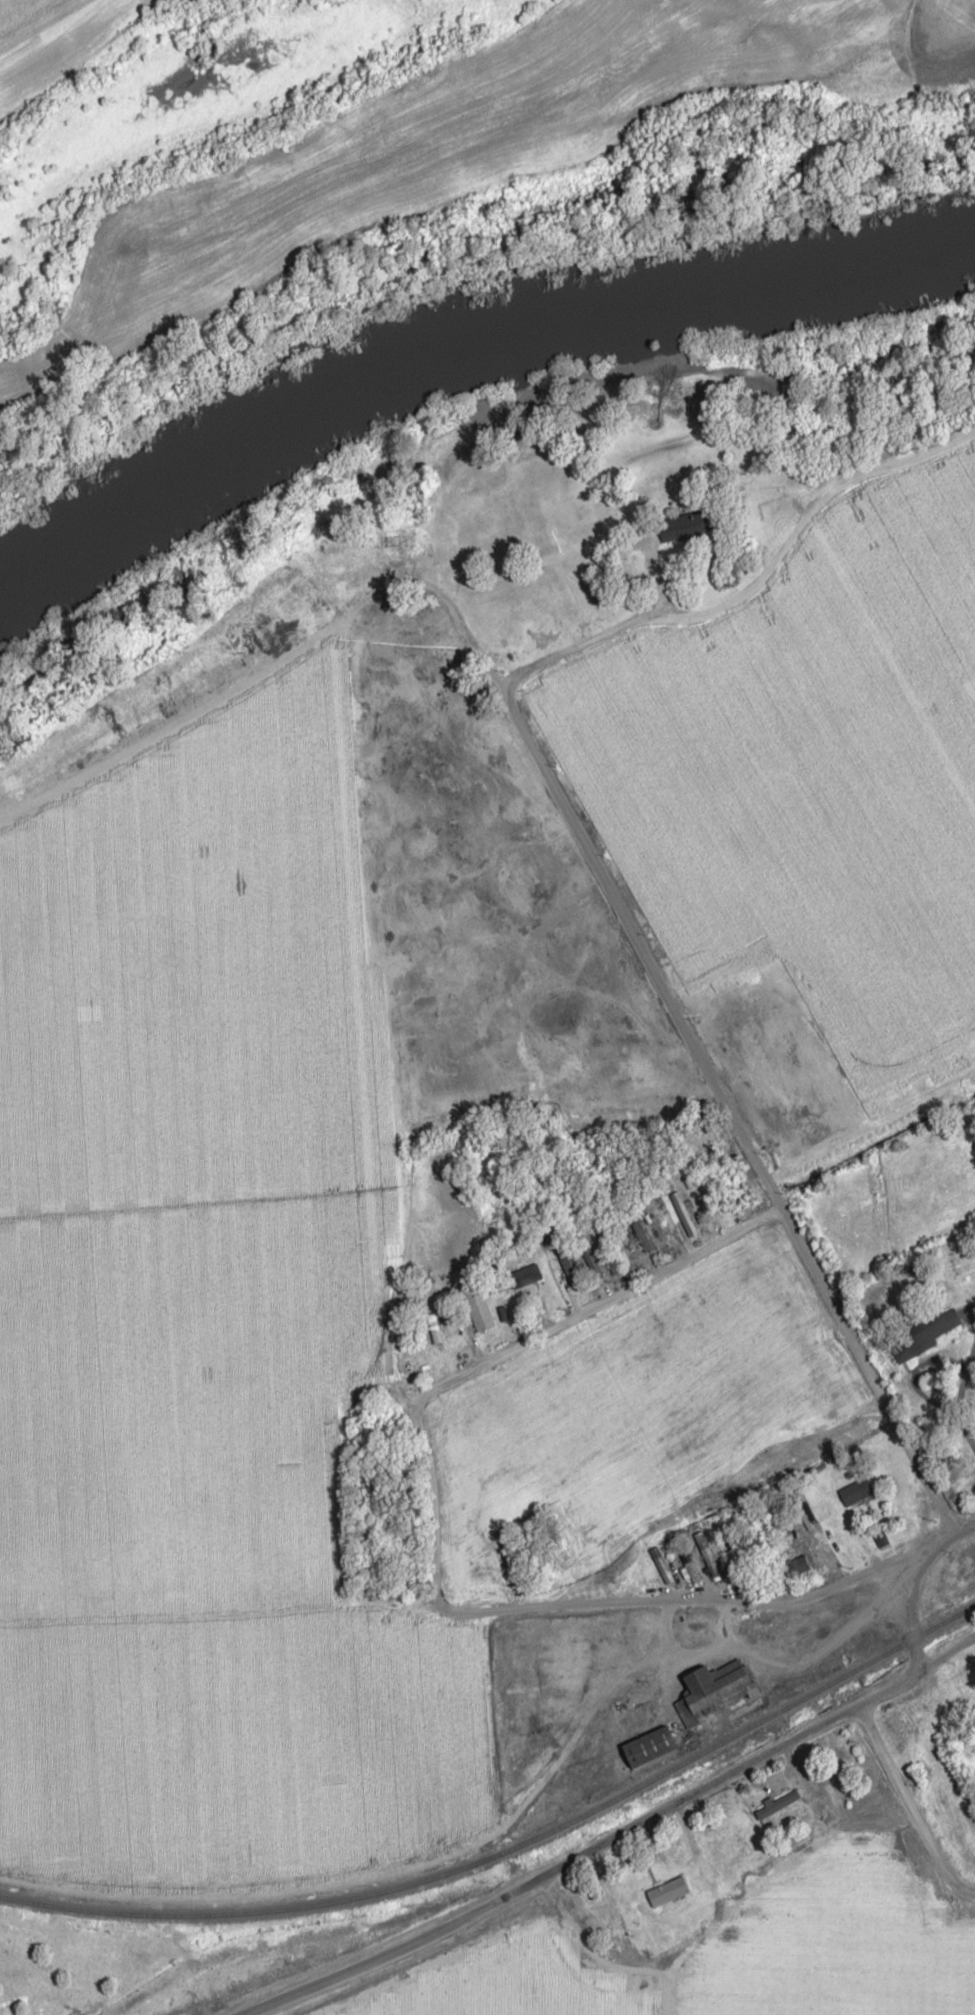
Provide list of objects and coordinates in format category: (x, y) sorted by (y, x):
road: (49, 28)
river: (462, 346)
building: (686, 523)
road: (744, 580)
road: (215, 699)
crop: (807, 765)
road: (534, 928)
road: (699, 1058)
building: (683, 1213)
building: (642, 1239)
building: (591, 1262)
building: (524, 1275)
building: (480, 1312)
building: (433, 1328)
building: (923, 1332)
road: (507, 1351)
building: (855, 1491)
building: (880, 1538)
road: (949, 1538)
building: (706, 1554)
building: (734, 1560)
building: (660, 1564)
building: (688, 1564)
road: (920, 1567)
road: (804, 1594)
road: (337, 1604)
road: (856, 1618)
road: (912, 1625)
building: (702, 1627)
road: (719, 1650)
road: (943, 1653)
road: (880, 1688)
building: (712, 1690)
building: (652, 1745)
building: (776, 1804)
road: (906, 1805)
railway: (512, 1847)
road: (549, 1870)
building: (654, 1891)

